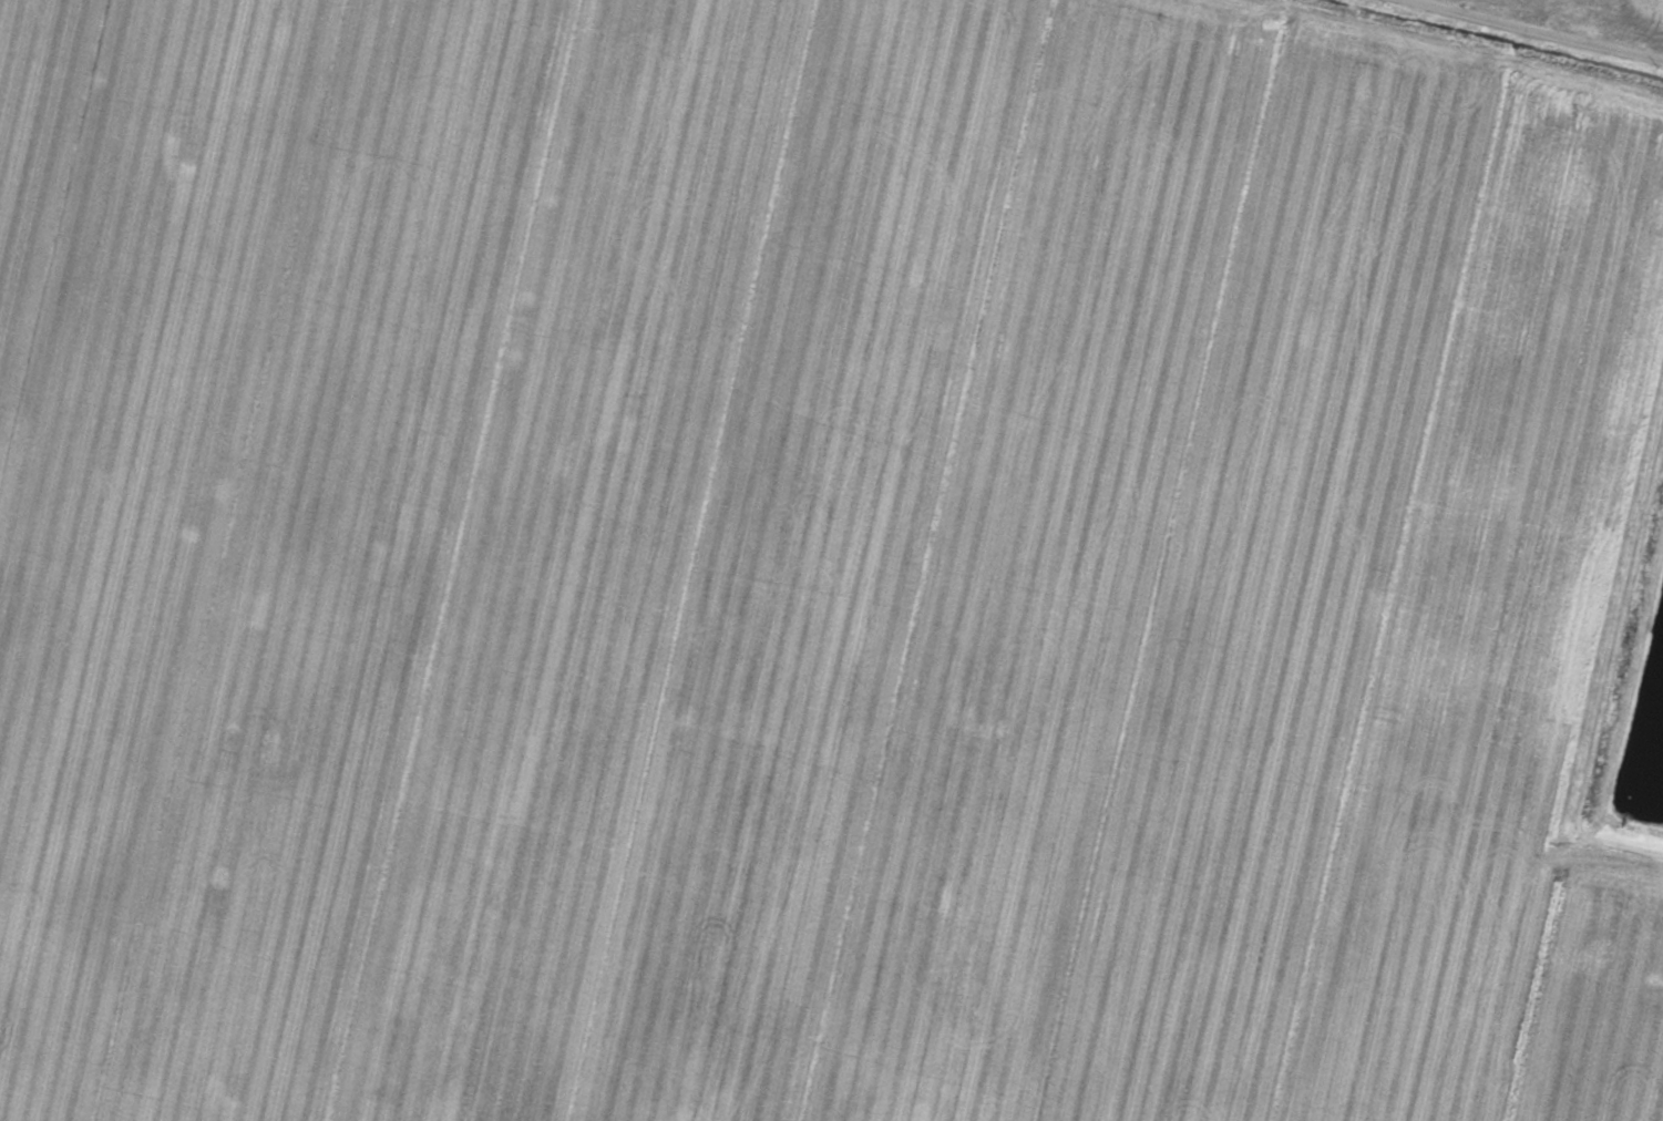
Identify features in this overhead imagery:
road: (1536, 29)

